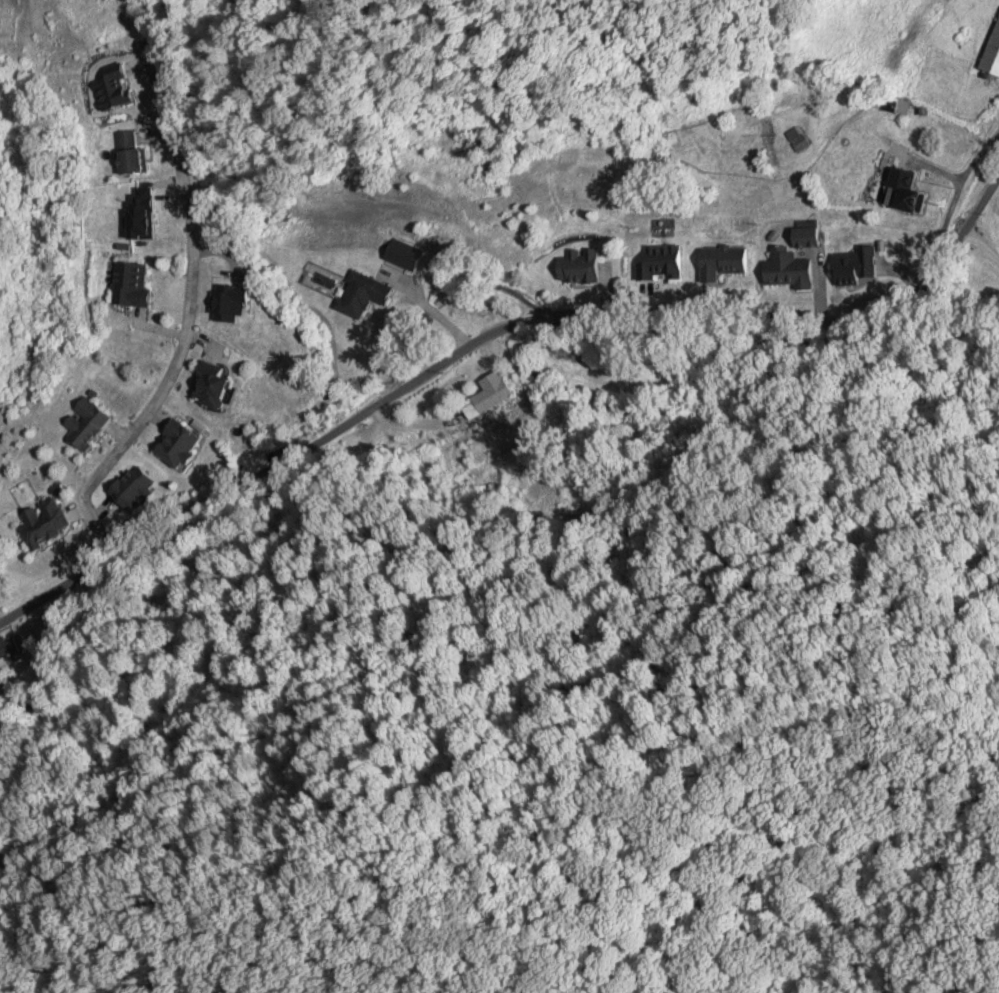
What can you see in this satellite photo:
building: (85, 16)
building: (992, 51)
building: (112, 85)
building: (128, 152)
building: (903, 188)
building: (803, 236)
building: (660, 261)
building: (721, 261)
building: (852, 265)
building: (577, 266)
building: (787, 270)
building: (127, 284)
building: (359, 293)
road: (548, 313)
road: (812, 316)
building: (206, 381)
road: (404, 384)
building: (488, 394)
building: (83, 422)
building: (173, 443)
road: (271, 464)
building: (129, 485)
building: (42, 522)
road: (132, 541)
building: (11, 648)

